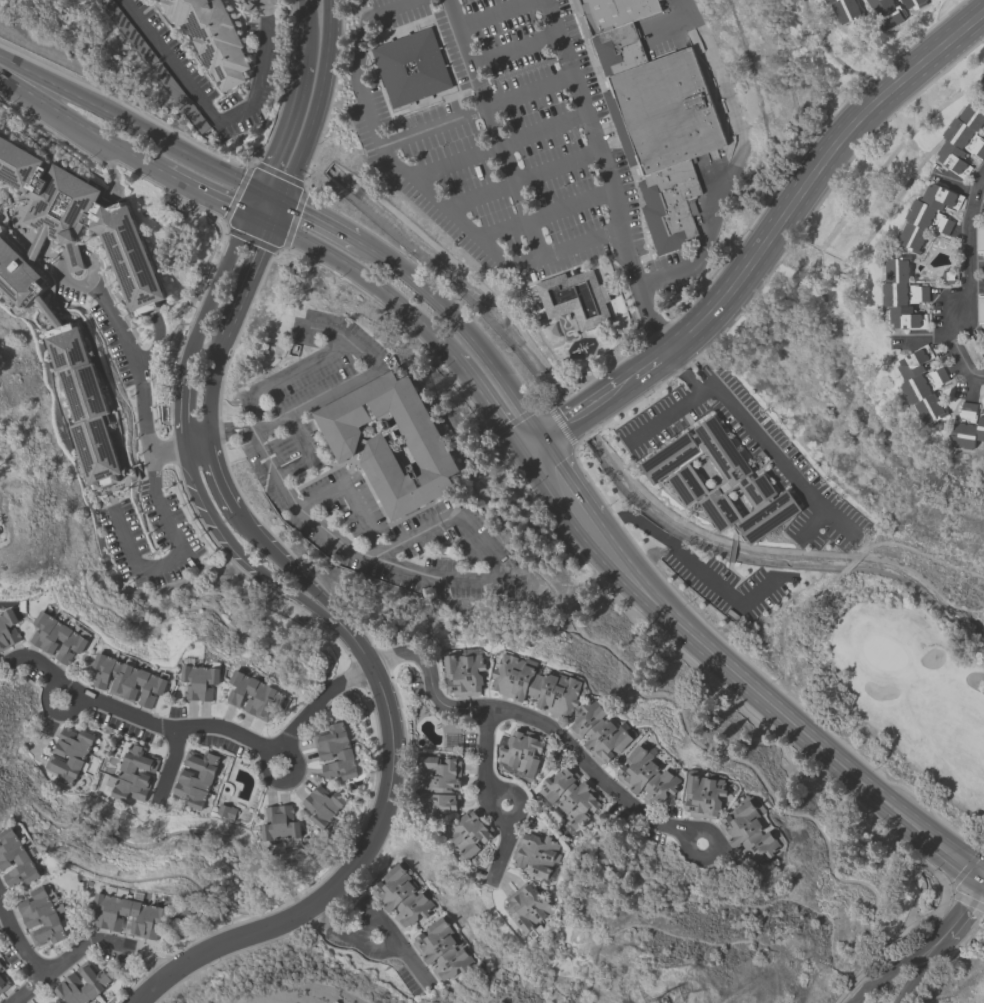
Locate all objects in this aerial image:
building: (154, 0)
building: (913, 3)
road: (396, 8)
building: (845, 10)
building: (887, 13)
road: (503, 14)
building: (612, 14)
road: (306, 30)
building: (210, 39)
road: (359, 51)
road: (516, 51)
building: (618, 51)
building: (410, 67)
building: (981, 86)
road: (531, 93)
road: (585, 113)
building: (662, 113)
road: (313, 116)
road: (213, 119)
road: (372, 119)
road: (131, 124)
road: (78, 127)
road: (288, 128)
road: (544, 133)
building: (962, 139)
parking lot: (510, 142)
road: (733, 159)
road: (458, 163)
road: (556, 170)
road: (407, 172)
road: (822, 172)
building: (668, 183)
traffic signals: (261, 192)
road: (205, 194)
road: (271, 197)
road: (481, 198)
traffic signals: (281, 202)
road: (255, 204)
road: (569, 205)
traffic signals: (249, 216)
building: (927, 216)
road: (320, 219)
building: (81, 220)
road: (260, 221)
building: (669, 224)
traffic signals: (271, 226)
road: (530, 233)
road: (70, 253)
building: (72, 259)
road: (506, 264)
road: (976, 265)
building: (16, 275)
road: (81, 281)
road: (969, 281)
road: (368, 282)
building: (901, 294)
building: (578, 313)
road: (466, 327)
road: (158, 346)
road: (132, 360)
road: (656, 364)
road: (628, 383)
building: (921, 384)
road: (332, 386)
building: (80, 399)
road: (489, 406)
road: (665, 414)
road: (578, 417)
building: (967, 427)
road: (757, 434)
traffic signals: (536, 446)
road: (180, 447)
road: (209, 449)
road: (307, 449)
building: (427, 449)
road: (189, 454)
building: (683, 479)
road: (561, 483)
road: (350, 488)
road: (178, 552)
road: (365, 555)
road: (686, 559)
building: (8, 628)
building: (56, 636)
road: (360, 649)
park: (891, 670)
building: (464, 673)
building: (127, 680)
road: (973, 681)
building: (199, 682)
road: (68, 685)
building: (535, 686)
road: (50, 691)
building: (253, 696)
road: (318, 699)
road: (777, 706)
road: (137, 717)
road: (530, 717)
building: (601, 733)
road: (485, 751)
road: (274, 752)
building: (335, 752)
building: (69, 753)
building: (520, 754)
road: (170, 764)
building: (127, 772)
building: (647, 778)
building: (194, 780)
building: (440, 784)
road: (494, 795)
building: (704, 796)
building: (570, 798)
building: (322, 804)
building: (226, 810)
building: (278, 823)
building: (468, 832)
building: (748, 834)
road: (502, 846)
building: (535, 854)
road: (696, 857)
building: (16, 860)
road: (338, 884)
building: (401, 898)
road: (966, 905)
building: (527, 907)
building: (128, 915)
building: (42, 917)
road: (386, 928)
road: (17, 941)
road: (351, 942)
road: (84, 943)
road: (933, 944)
building: (442, 951)
building: (1, 967)
road: (419, 973)
road: (901, 980)
road: (906, 980)
building: (98, 981)
building: (3, 982)
power tower: (662, 1002)

